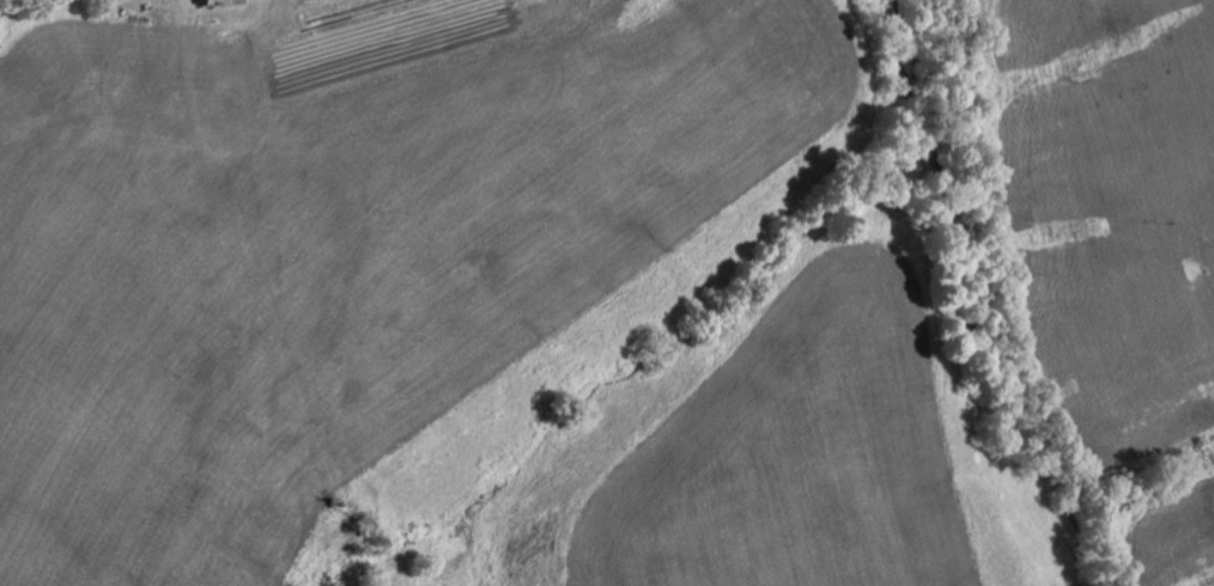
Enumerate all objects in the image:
building: (225, 2)

